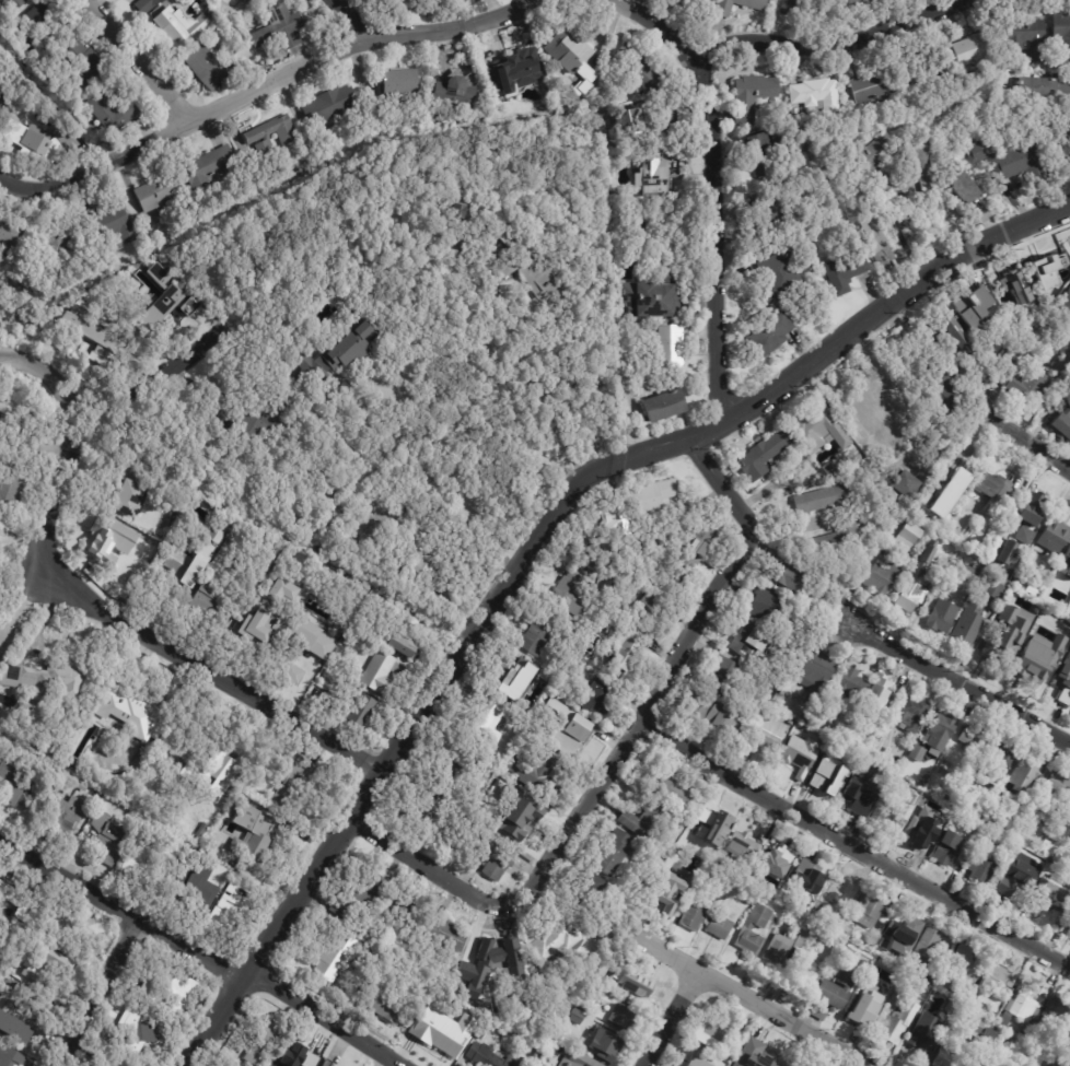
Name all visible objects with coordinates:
building: (244, 1)
building: (393, 3)
building: (9, 4)
building: (698, 4)
building: (148, 5)
building: (789, 5)
building: (847, 5)
building: (721, 11)
building: (35, 20)
road: (339, 21)
building: (175, 24)
building: (277, 26)
building: (1024, 37)
building: (1060, 38)
road: (781, 44)
building: (43, 47)
building: (970, 49)
building: (574, 52)
road: (136, 60)
building: (516, 62)
building: (208, 65)
building: (88, 68)
building: (642, 69)
road: (275, 80)
building: (396, 81)
building: (872, 86)
building: (1039, 90)
building: (814, 93)
building: (461, 95)
building: (751, 95)
building: (330, 105)
building: (113, 110)
building: (673, 120)
building: (270, 129)
building: (1050, 130)
building: (37, 143)
building: (764, 149)
building: (266, 151)
building: (972, 153)
building: (871, 162)
building: (1016, 164)
building: (920, 165)
building: (210, 167)
building: (659, 179)
road: (11, 181)
building: (962, 187)
building: (160, 194)
building: (769, 195)
building: (460, 211)
building: (467, 213)
building: (113, 223)
road: (716, 237)
building: (12, 239)
building: (872, 242)
building: (69, 247)
building: (1051, 265)
building: (533, 271)
building: (844, 271)
building: (159, 273)
building: (778, 276)
building: (1009, 288)
building: (646, 298)
building: (1063, 303)
building: (146, 304)
building: (187, 305)
building: (972, 307)
building: (456, 311)
building: (159, 312)
building: (25, 317)
building: (927, 335)
building: (92, 337)
building: (767, 337)
building: (958, 339)
building: (674, 347)
building: (340, 354)
road: (160, 373)
building: (1022, 384)
building: (937, 390)
building: (667, 407)
building: (870, 409)
building: (949, 419)
building: (309, 424)
building: (1061, 424)
building: (813, 430)
building: (257, 434)
road: (1023, 435)
building: (19, 436)
building: (58, 450)
building: (760, 456)
building: (823, 468)
road: (447, 473)
building: (900, 487)
building: (990, 489)
building: (14, 490)
building: (132, 491)
building: (649, 500)
building: (818, 500)
building: (933, 505)
building: (610, 514)
building: (1022, 517)
building: (1023, 534)
building: (219, 536)
road: (537, 536)
building: (907, 536)
building: (1052, 537)
building: (830, 542)
building: (879, 547)
building: (607, 549)
building: (696, 551)
building: (1005, 552)
building: (1067, 557)
building: (421, 562)
building: (116, 564)
building: (1067, 567)
building: (185, 571)
building: (1055, 575)
building: (881, 577)
building: (782, 578)
building: (984, 579)
building: (629, 581)
building: (915, 581)
building: (609, 583)
building: (661, 583)
building: (1015, 584)
building: (574, 591)
building: (1030, 591)
building: (282, 593)
building: (1047, 599)
road: (22, 601)
building: (328, 602)
building: (216, 604)
building: (765, 607)
building: (1022, 609)
building: (653, 610)
road: (96, 611)
building: (941, 617)
road: (44, 618)
building: (967, 625)
building: (259, 626)
building: (1066, 631)
building: (302, 632)
building: (410, 636)
building: (539, 636)
building: (1008, 636)
building: (748, 642)
building: (1026, 645)
building: (635, 649)
building: (560, 660)
building: (46, 672)
building: (384, 675)
building: (719, 676)
building: (814, 676)
building: (524, 679)
building: (1063, 680)
road: (962, 681)
building: (851, 684)
building: (876, 692)
building: (601, 699)
building: (131, 700)
building: (561, 706)
building: (831, 706)
building: (359, 710)
building: (706, 713)
building: (912, 715)
building: (488, 716)
building: (806, 722)
building: (872, 729)
building: (940, 731)
building: (581, 733)
building: (830, 733)
building: (766, 735)
building: (969, 736)
building: (822, 739)
building: (845, 742)
road: (616, 751)
building: (917, 751)
building: (799, 754)
building: (992, 764)
building: (943, 769)
building: (534, 770)
building: (229, 771)
building: (1024, 775)
building: (296, 780)
building: (822, 781)
building: (19, 786)
building: (84, 786)
building: (854, 787)
building: (672, 789)
building: (1055, 789)
building: (923, 799)
building: (1003, 801)
building: (438, 809)
building: (940, 811)
building: (1067, 815)
building: (69, 816)
building: (521, 817)
building: (885, 818)
building: (1026, 818)
building: (711, 820)
building: (643, 822)
building: (917, 825)
building: (1056, 832)
building: (256, 836)
building: (111, 837)
building: (993, 837)
building: (696, 839)
building: (684, 842)
building: (737, 846)
road: (851, 846)
building: (945, 848)
building: (610, 853)
building: (496, 857)
building: (152, 859)
building: (675, 860)
building: (776, 862)
building: (665, 866)
building: (978, 868)
building: (733, 871)
building: (803, 875)
building: (1015, 879)
building: (202, 883)
building: (721, 885)
building: (589, 886)
building: (362, 894)
building: (406, 895)
building: (1048, 897)
building: (19, 898)
building: (830, 898)
building: (749, 899)
building: (659, 901)
building: (802, 902)
building: (236, 903)
building: (694, 909)
building: (867, 910)
building: (387, 915)
building: (899, 925)
building: (718, 927)
building: (919, 927)
building: (35, 928)
building: (68, 928)
building: (745, 928)
building: (1, 929)
building: (1068, 930)
building: (482, 932)
building: (845, 932)
building: (450, 935)
building: (799, 940)
building: (554, 941)
building: (927, 946)
building: (776, 948)
building: (20, 949)
road: (205, 949)
building: (844, 952)
building: (340, 957)
building: (492, 958)
building: (63, 963)
building: (864, 964)
building: (910, 964)
building: (601, 970)
building: (961, 971)
building: (803, 973)
building: (931, 973)
building: (617, 975)
building: (997, 983)
building: (170, 985)
building: (595, 986)
building: (638, 986)
building: (836, 988)
road: (101, 991)
road: (745, 994)
building: (387, 999)
building: (880, 999)
building: (894, 999)
building: (482, 1001)
building: (1024, 1003)
building: (859, 1005)
building: (540, 1007)
building: (817, 1012)
building: (16, 1015)
building: (581, 1017)
building: (623, 1017)
road: (676, 1018)
building: (896, 1023)
building: (139, 1030)
building: (441, 1032)
building: (710, 1033)
building: (921, 1033)
building: (986, 1040)
building: (266, 1043)
building: (602, 1044)
building: (301, 1054)
building: (949, 1055)
building: (11, 1056)
building: (487, 1057)
building: (768, 1058)
building: (107, 1059)
building: (582, 1062)
building: (698, 1062)
building: (975, 1062)
building: (1008, 1062)
building: (328, 1063)

